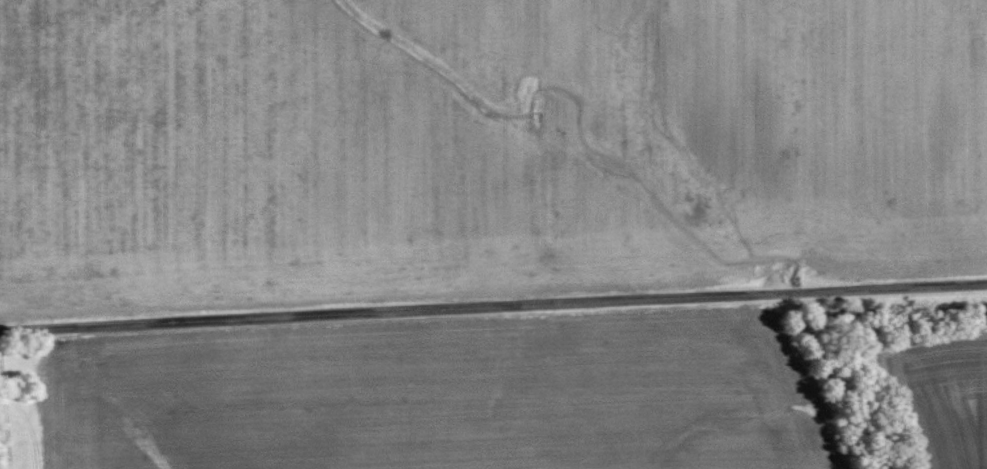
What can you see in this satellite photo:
road: (493, 310)

